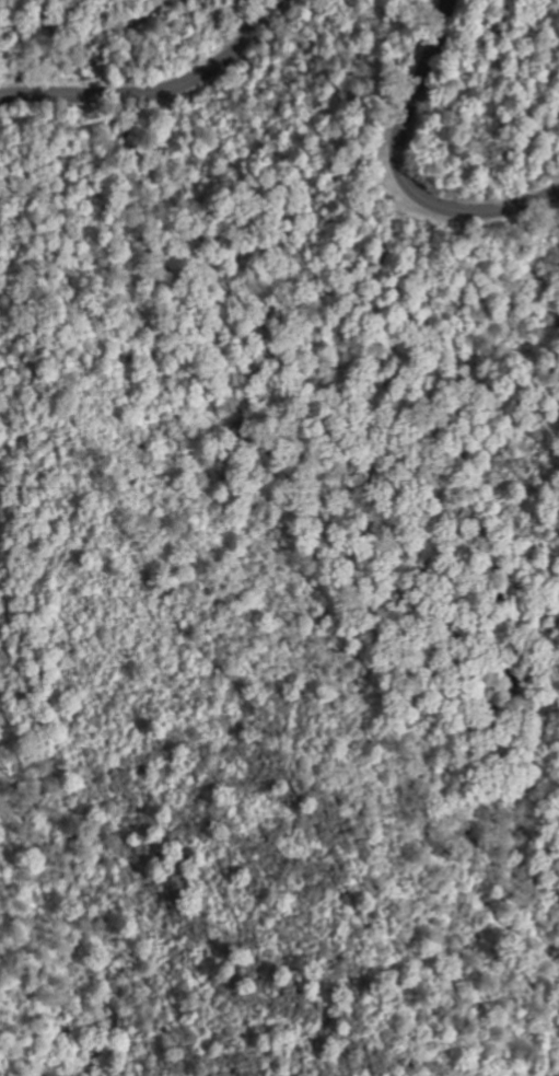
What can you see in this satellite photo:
road: (156, 91)
road: (401, 169)

